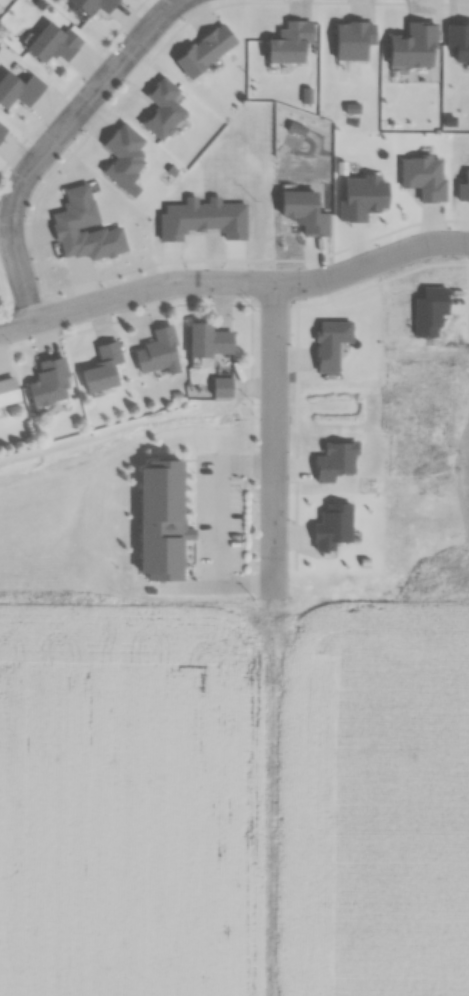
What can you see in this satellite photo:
building: (53, 43)
building: (162, 109)
building: (2, 131)
road: (50, 143)
building: (81, 204)
road: (234, 280)
road: (262, 304)
road: (123, 317)
building: (209, 341)
building: (157, 351)
building: (102, 367)
building: (48, 383)
building: (221, 387)
building: (7, 391)
road: (273, 441)
road: (249, 447)
building: (160, 520)
crop: (372, 795)

